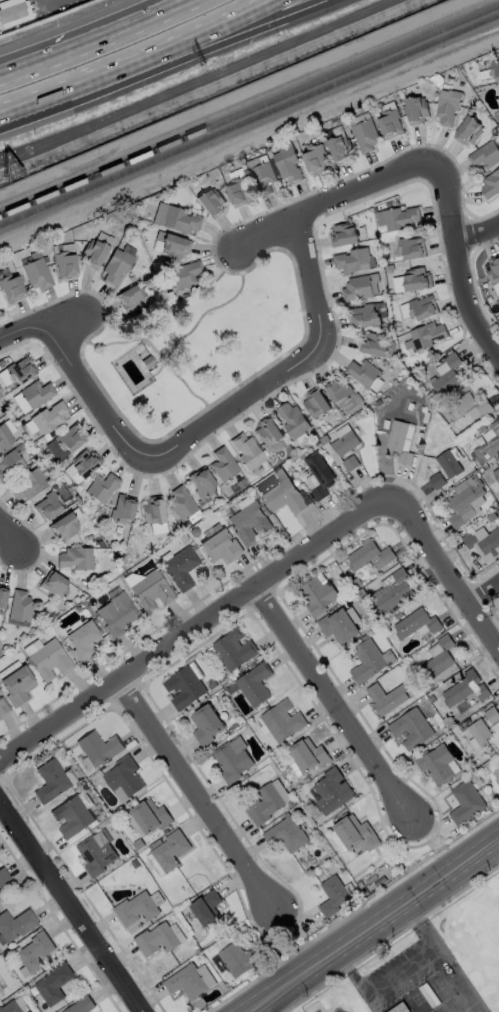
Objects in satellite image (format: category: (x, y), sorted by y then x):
road: (50, 3)
road: (179, 6)
road: (183, 6)
building: (13, 12)
road: (85, 46)
road: (132, 57)
road: (166, 65)
building: (494, 69)
building: (497, 100)
building: (447, 106)
building: (416, 109)
railway: (249, 113)
building: (389, 123)
railway: (249, 125)
building: (468, 130)
building: (365, 135)
building: (339, 148)
building: (484, 154)
building: (315, 158)
building: (287, 164)
building: (262, 178)
building: (490, 184)
building: (238, 192)
building: (210, 202)
road: (339, 205)
building: (399, 218)
building: (179, 220)
building: (342, 235)
road: (477, 235)
building: (174, 246)
building: (411, 247)
building: (94, 253)
building: (352, 260)
road: (458, 263)
building: (64, 264)
building: (116, 265)
building: (493, 268)
building: (36, 273)
building: (186, 273)
building: (416, 278)
building: (10, 288)
building: (356, 288)
building: (131, 297)
road: (215, 307)
building: (422, 307)
building: (364, 316)
road: (45, 324)
building: (426, 335)
road: (149, 342)
building: (373, 344)
park: (199, 345)
building: (20, 369)
building: (363, 372)
building: (446, 373)
building: (338, 391)
building: (36, 393)
building: (316, 402)
building: (467, 407)
building: (49, 417)
road: (215, 418)
building: (292, 420)
building: (268, 430)
building: (4, 435)
building: (69, 437)
building: (400, 440)
building: (489, 442)
building: (345, 443)
building: (246, 451)
building: (85, 462)
building: (449, 462)
building: (350, 463)
building: (10, 464)
building: (222, 464)
building: (319, 474)
building: (496, 475)
building: (436, 480)
building: (201, 482)
building: (28, 485)
building: (101, 487)
building: (284, 496)
building: (181, 503)
building: (465, 504)
building: (47, 506)
building: (122, 508)
building: (152, 510)
building: (249, 523)
building: (64, 526)
road: (12, 539)
building: (483, 544)
building: (220, 546)
building: (369, 556)
building: (75, 558)
building: (179, 566)
road: (445, 574)
building: (54, 584)
building: (150, 590)
building: (392, 590)
building: (3, 595)
building: (317, 595)
road: (484, 598)
building: (20, 606)
building: (116, 614)
building: (416, 624)
building: (338, 626)
road: (196, 634)
building: (82, 639)
building: (233, 649)
building: (49, 659)
building: (366, 661)
building: (438, 661)
building: (254, 684)
building: (17, 685)
building: (183, 687)
building: (465, 688)
building: (386, 697)
building: (3, 707)
road: (337, 707)
building: (281, 720)
building: (205, 724)
building: (410, 728)
building: (478, 734)
building: (98, 748)
building: (308, 755)
building: (231, 759)
building: (435, 763)
building: (496, 776)
building: (123, 778)
building: (50, 780)
building: (331, 791)
road: (199, 799)
building: (465, 802)
building: (264, 804)
building: (72, 816)
building: (150, 816)
building: (354, 832)
building: (285, 834)
road: (432, 848)
building: (169, 850)
building: (95, 855)
building: (3, 875)
building: (332, 895)
building: (206, 907)
building: (135, 908)
road: (70, 909)
building: (15, 924)
road: (374, 926)
building: (156, 939)
road: (294, 942)
building: (34, 952)
building: (238, 959)
road: (403, 970)
building: (190, 981)
building: (54, 983)
building: (0, 989)
building: (0, 991)
building: (83, 1006)
building: (11, 1007)
building: (400, 1008)

